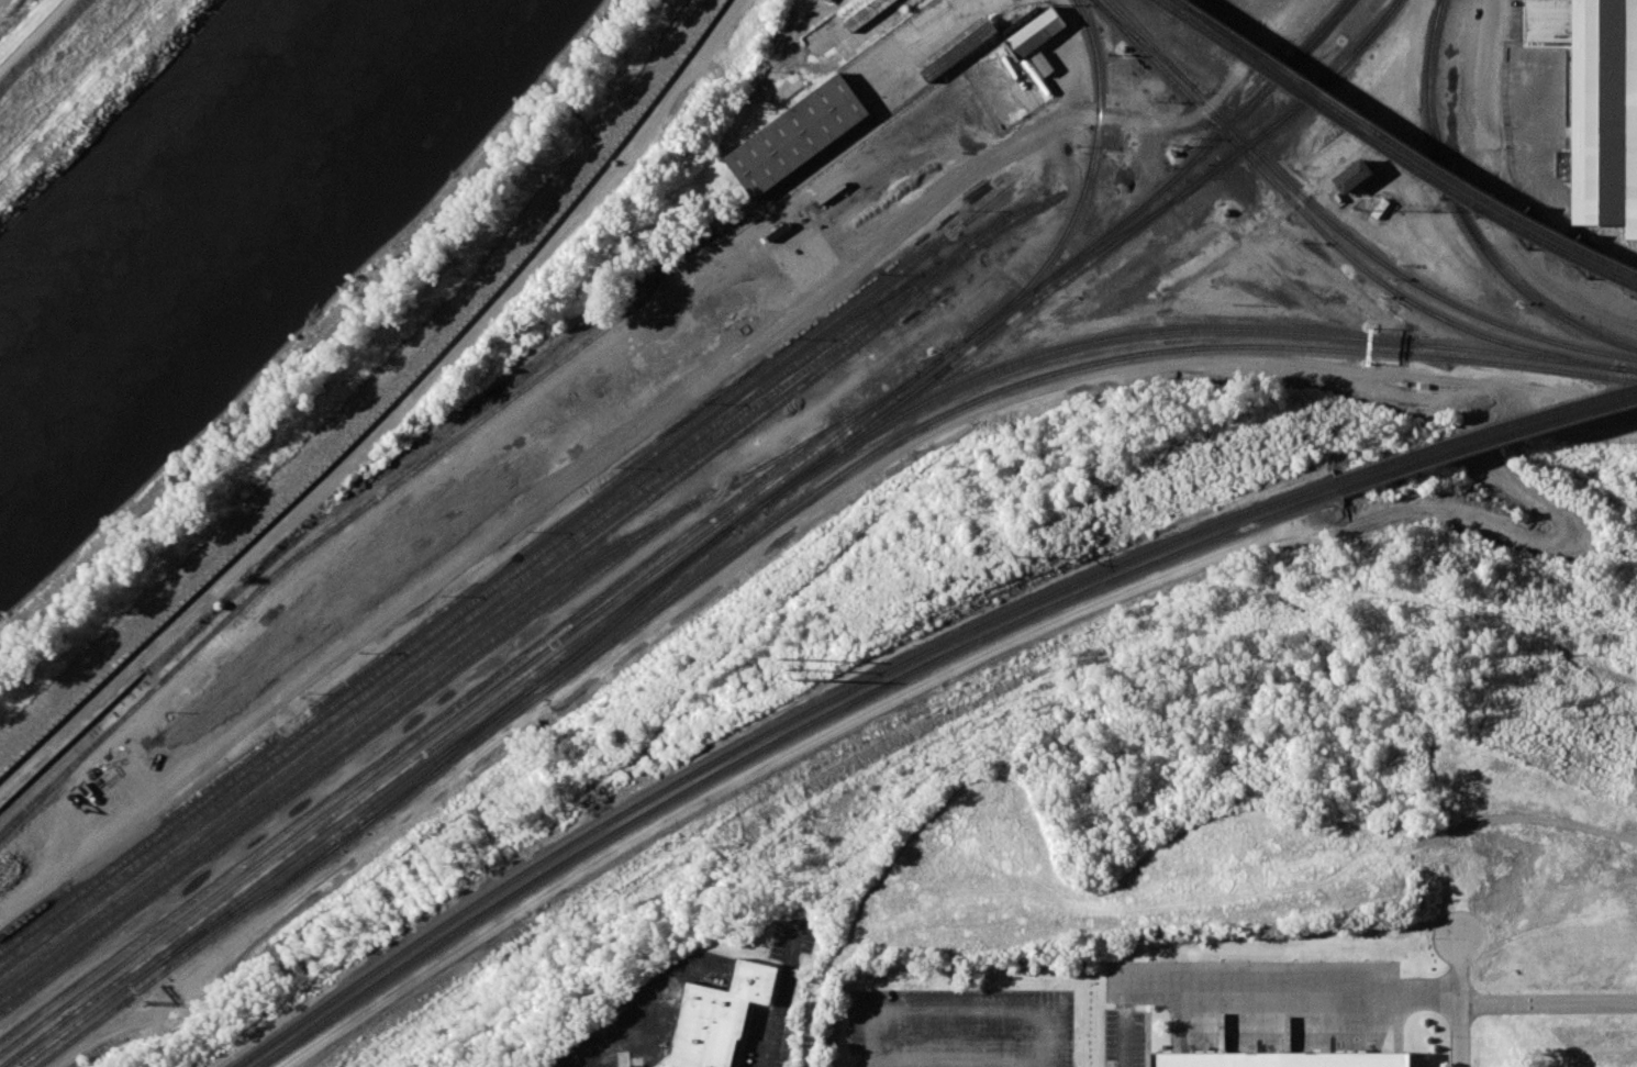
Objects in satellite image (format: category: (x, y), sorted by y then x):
building: (829, 0)
road: (954, 16)
building: (843, 25)
building: (1035, 31)
railway: (1324, 31)
road: (33, 35)
railway: (1362, 42)
railway: (1143, 43)
building: (956, 49)
road: (1071, 59)
building: (1042, 64)
railway: (1280, 74)
road: (1488, 80)
building: (1596, 104)
parking lot: (1537, 124)
road: (1369, 135)
building: (798, 136)
road: (1514, 137)
road: (1540, 137)
railway: (1246, 142)
railway: (1249, 143)
railway: (1238, 147)
railway: (1401, 147)
railway: (1391, 153)
railway: (1373, 173)
building: (1351, 176)
railway: (1083, 190)
river: (202, 207)
railway: (1229, 213)
railway: (1462, 216)
railway: (1124, 222)
railway: (1103, 244)
road: (814, 301)
railway: (1512, 329)
railway: (1173, 331)
railway: (1503, 342)
railway: (1168, 351)
railway: (964, 352)
railway: (837, 357)
railway: (1633, 369)
railway: (494, 412)
road: (391, 416)
railway: (1485, 432)
railway: (1488, 442)
railway: (745, 515)
road: (747, 552)
power tower: (1021, 556)
railway: (503, 564)
railway: (643, 590)
railway: (634, 605)
railway: (483, 608)
railway: (453, 618)
road: (1048, 626)
power tower: (793, 668)
railway: (553, 683)
railway: (456, 701)
railway: (414, 708)
railway: (467, 708)
railway: (765, 735)
railway: (777, 740)
railway: (344, 746)
railway: (307, 748)
railway: (448, 755)
railway: (309, 759)
railway: (367, 796)
railway: (346, 824)
railway: (348, 835)
railway: (247, 904)
parking lot: (795, 941)
railway: (186, 955)
road: (1252, 991)
road: (777, 997)
railway: (91, 1001)
road: (1457, 1001)
road: (1547, 1001)
road: (642, 1003)
road: (960, 1010)
railway: (88, 1014)
building: (713, 1020)
parking lot: (961, 1021)
parking lot: (753, 1037)
parking lot: (789, 1042)
building: (1280, 1059)
road: (960, 1060)

